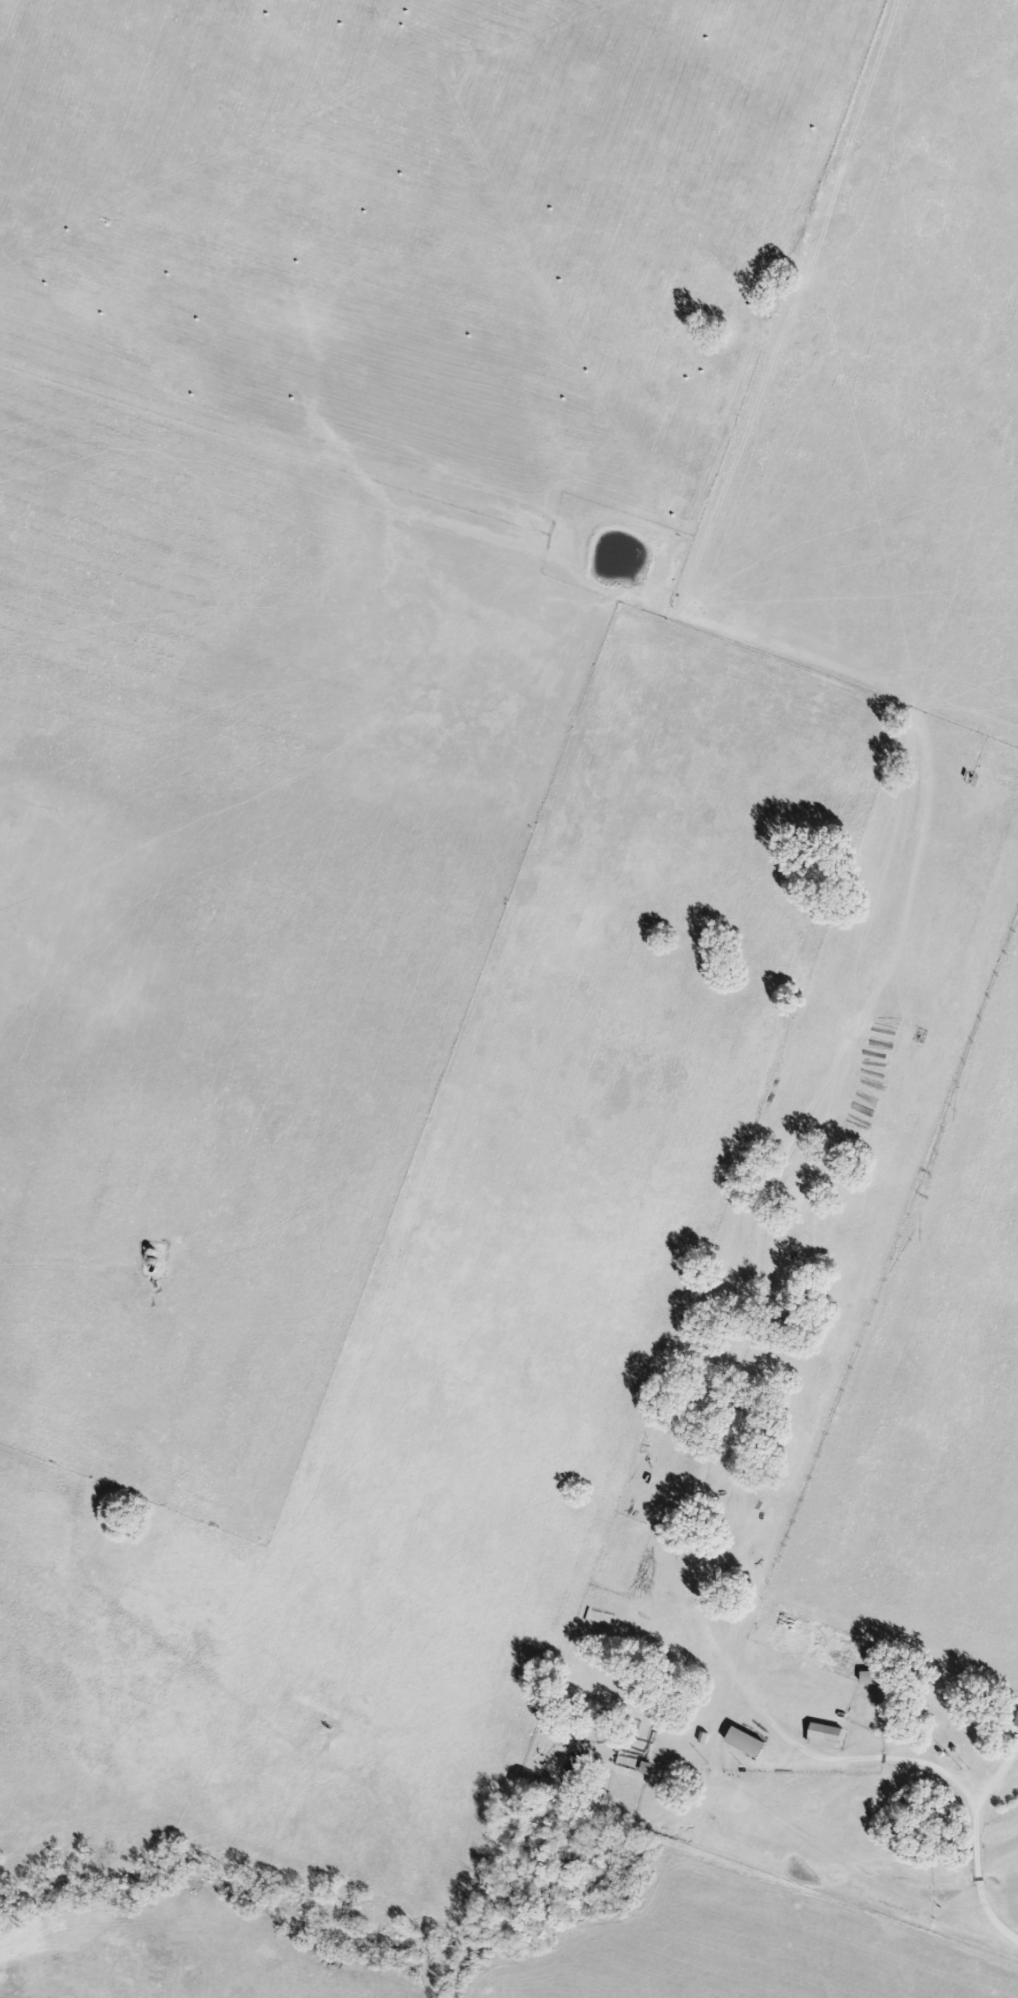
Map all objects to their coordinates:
building: (1016, 1719)
building: (823, 1735)
road: (975, 1833)

